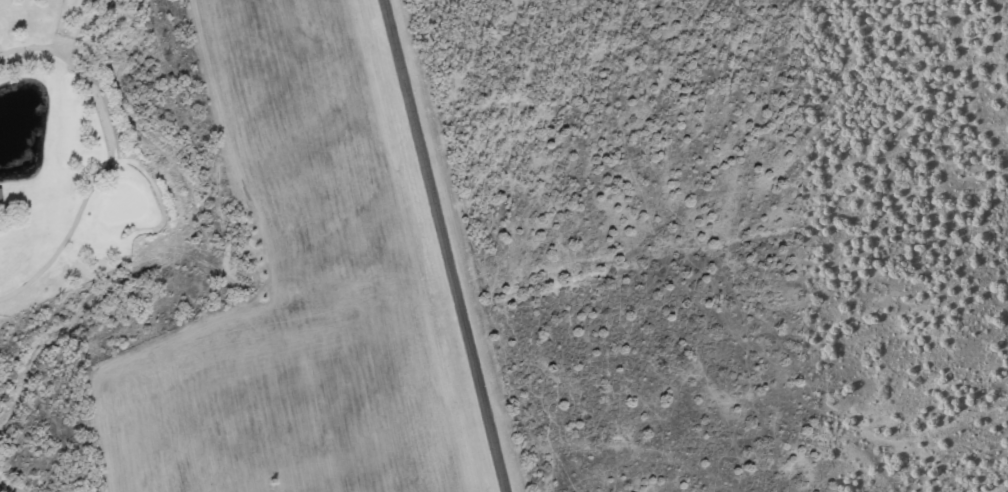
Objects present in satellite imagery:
road: (452, 246)

